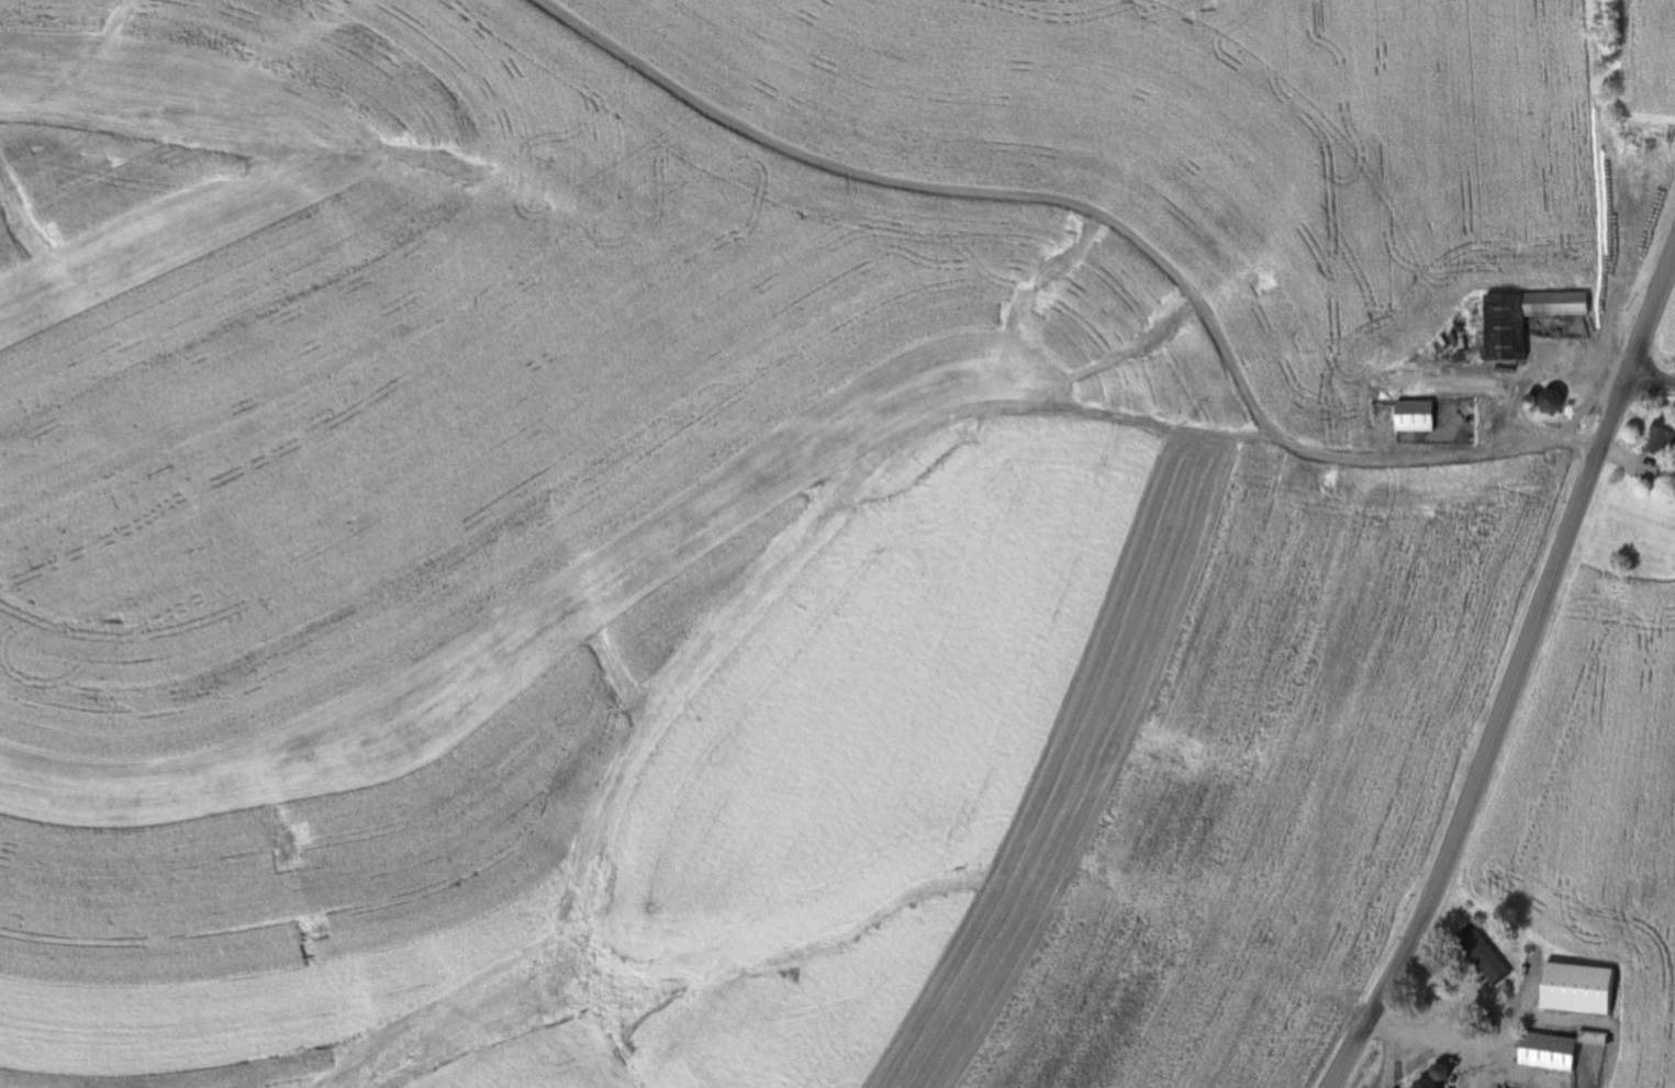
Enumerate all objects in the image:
building: (1523, 318)
road: (1652, 382)
building: (1548, 401)
building: (1415, 416)
building: (1662, 440)
building: (1666, 473)
road: (1519, 678)
building: (1482, 954)
building: (1577, 989)
building: (1555, 1050)
building: (1436, 1077)

